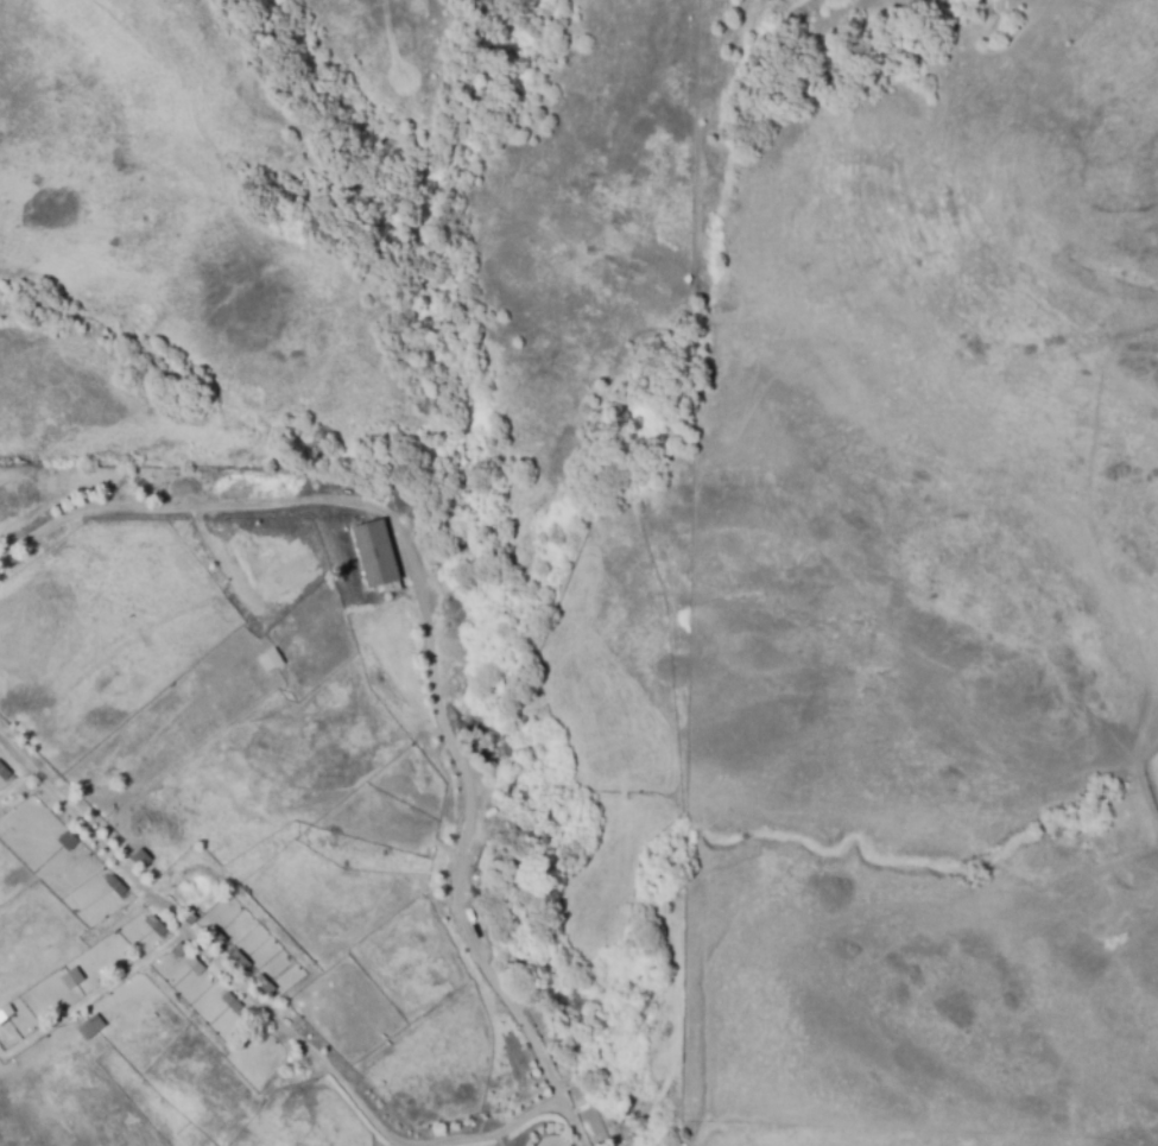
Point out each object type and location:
road: (198, 508)
building: (374, 552)
building: (270, 660)
building: (4, 773)
building: (68, 841)
road: (463, 851)
building: (140, 859)
building: (115, 886)
building: (156, 926)
building: (215, 936)
road: (202, 948)
building: (178, 951)
building: (239, 961)
building: (194, 965)
building: (72, 980)
building: (262, 984)
building: (232, 1002)
building: (93, 1028)
road: (501, 1132)

